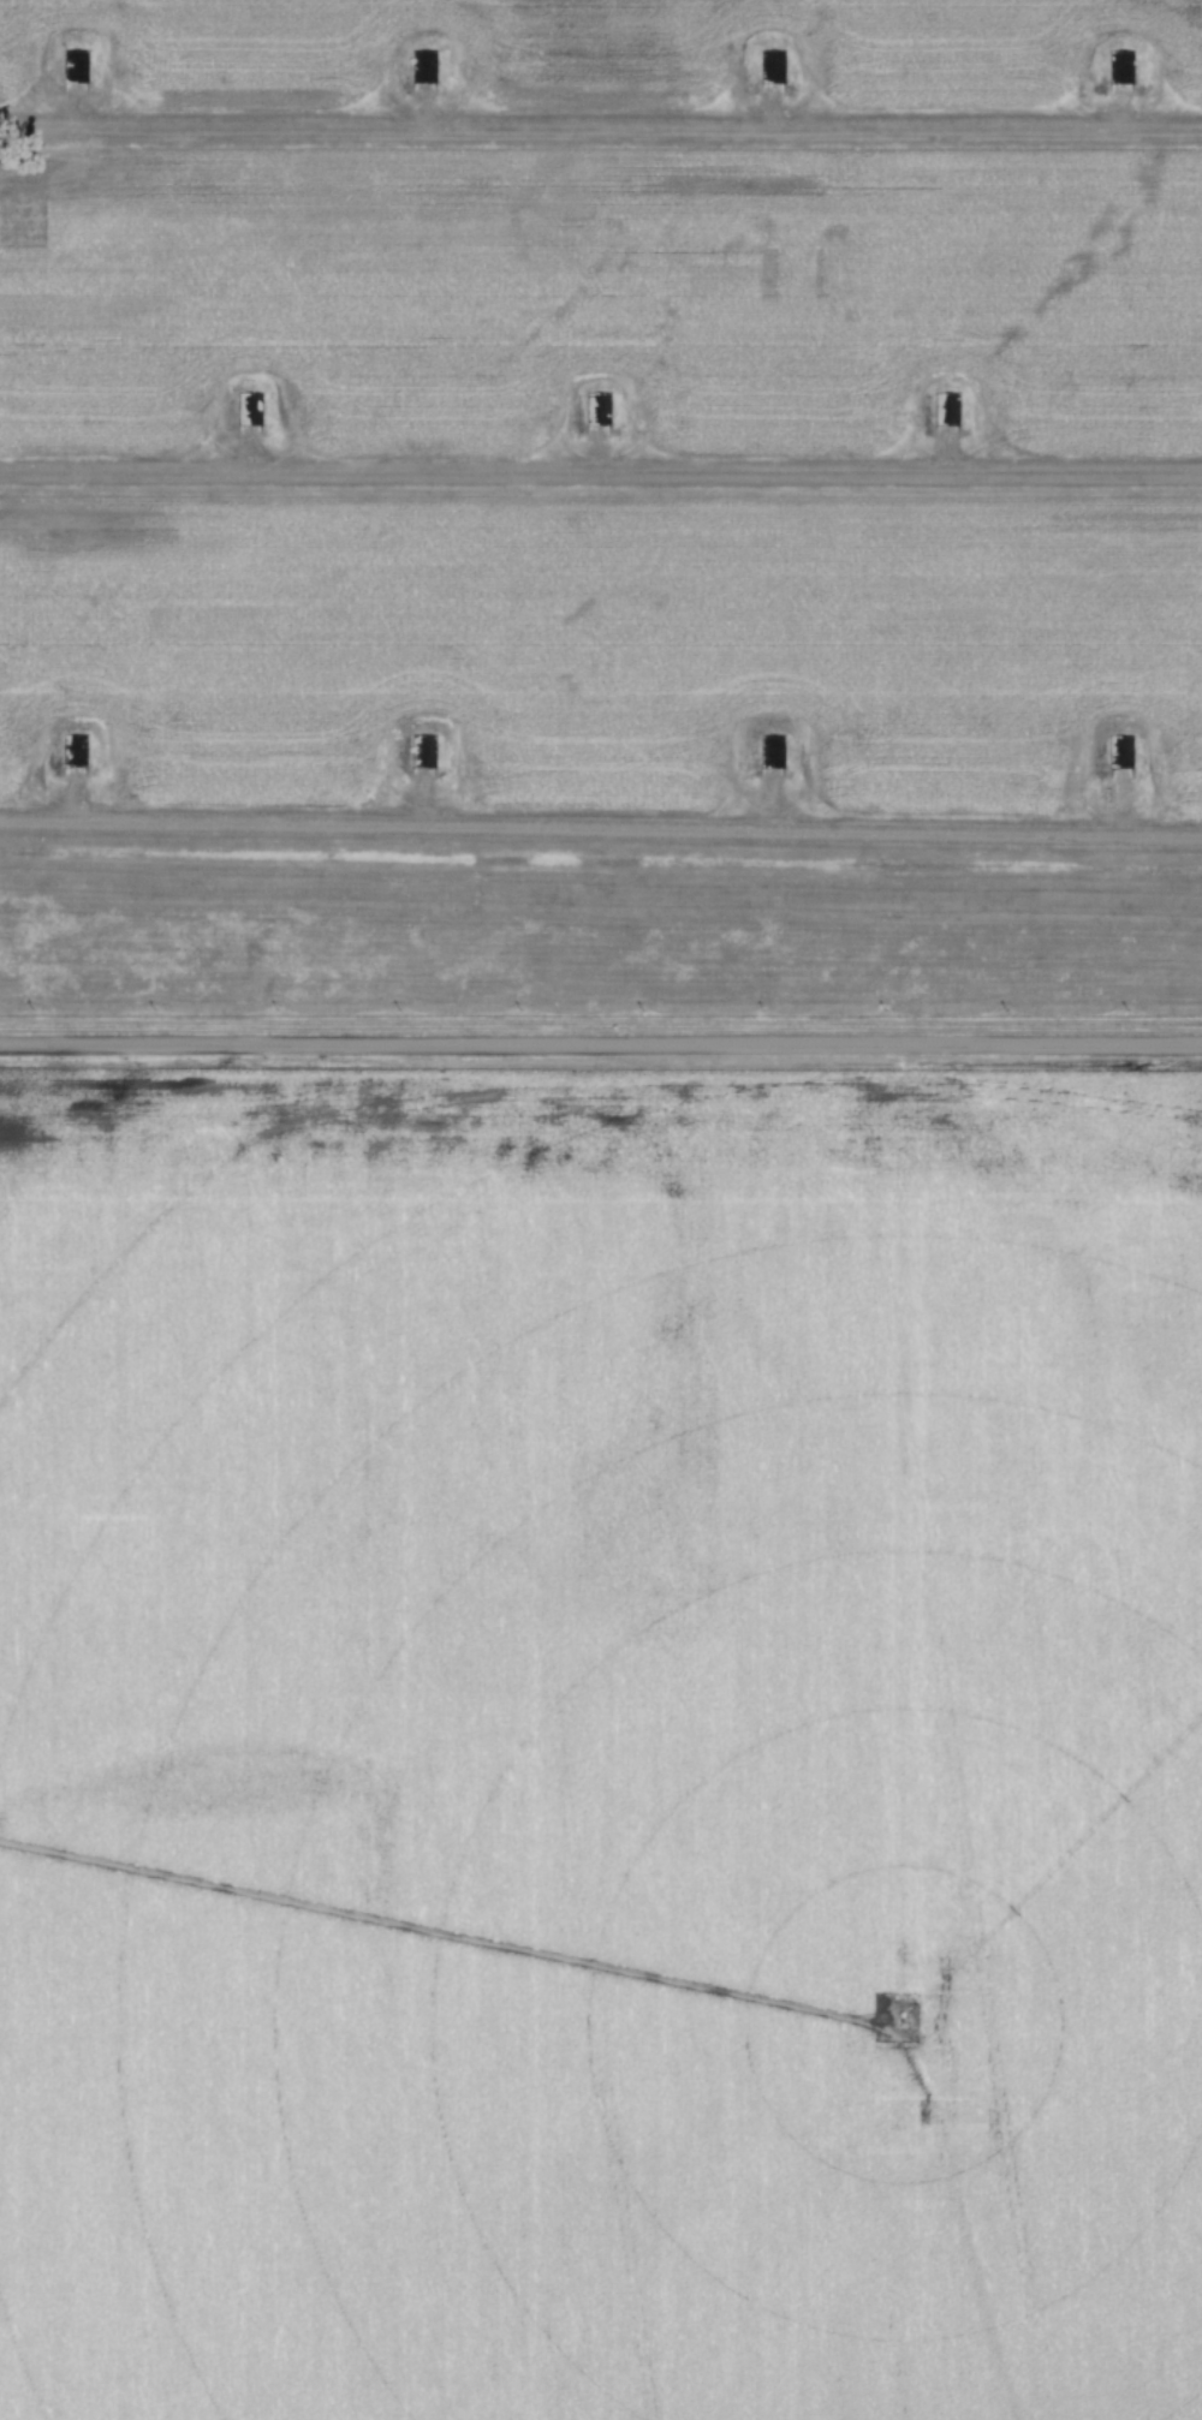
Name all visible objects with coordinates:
building: (73, 67)
building: (423, 67)
building: (772, 67)
building: (1119, 67)
road: (600, 125)
building: (946, 407)
road: (600, 469)
building: (73, 750)
building: (422, 750)
building: (770, 750)
building: (1119, 750)
road: (600, 827)
road: (601, 1042)

